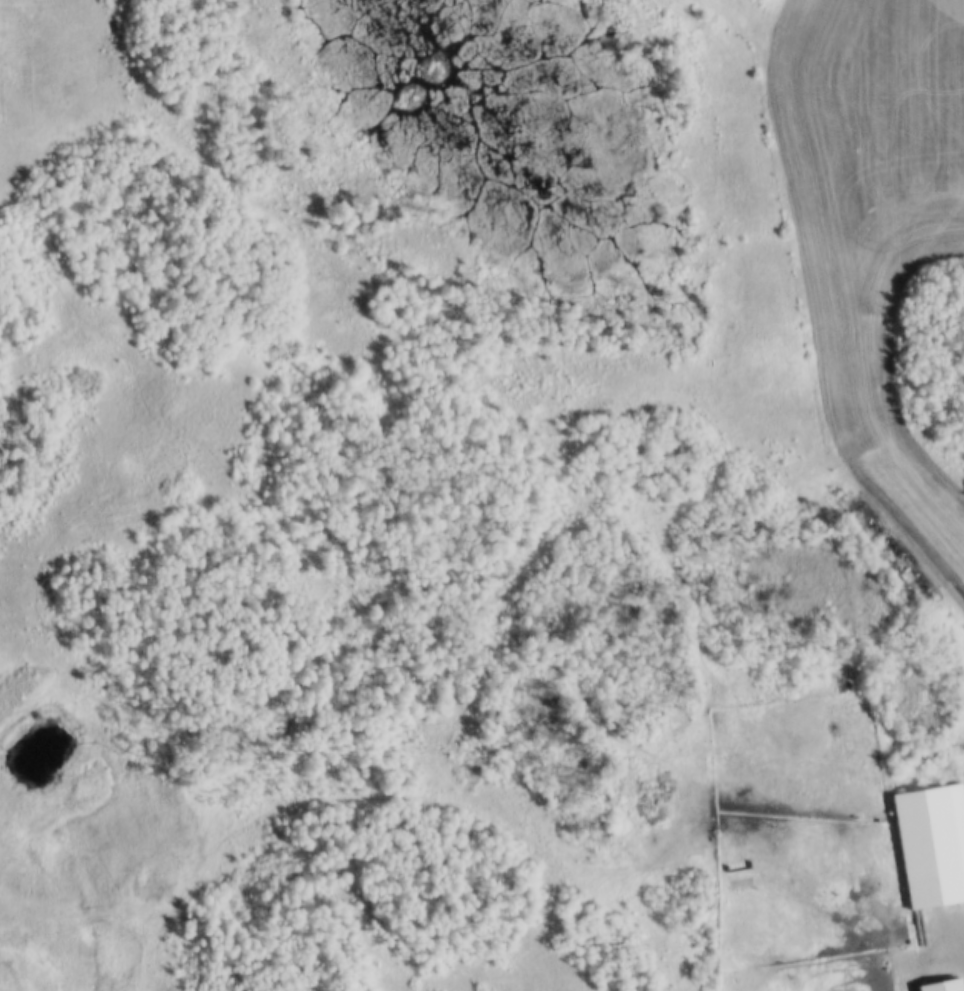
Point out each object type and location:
building: (795, 495)
building: (925, 844)
building: (938, 984)

